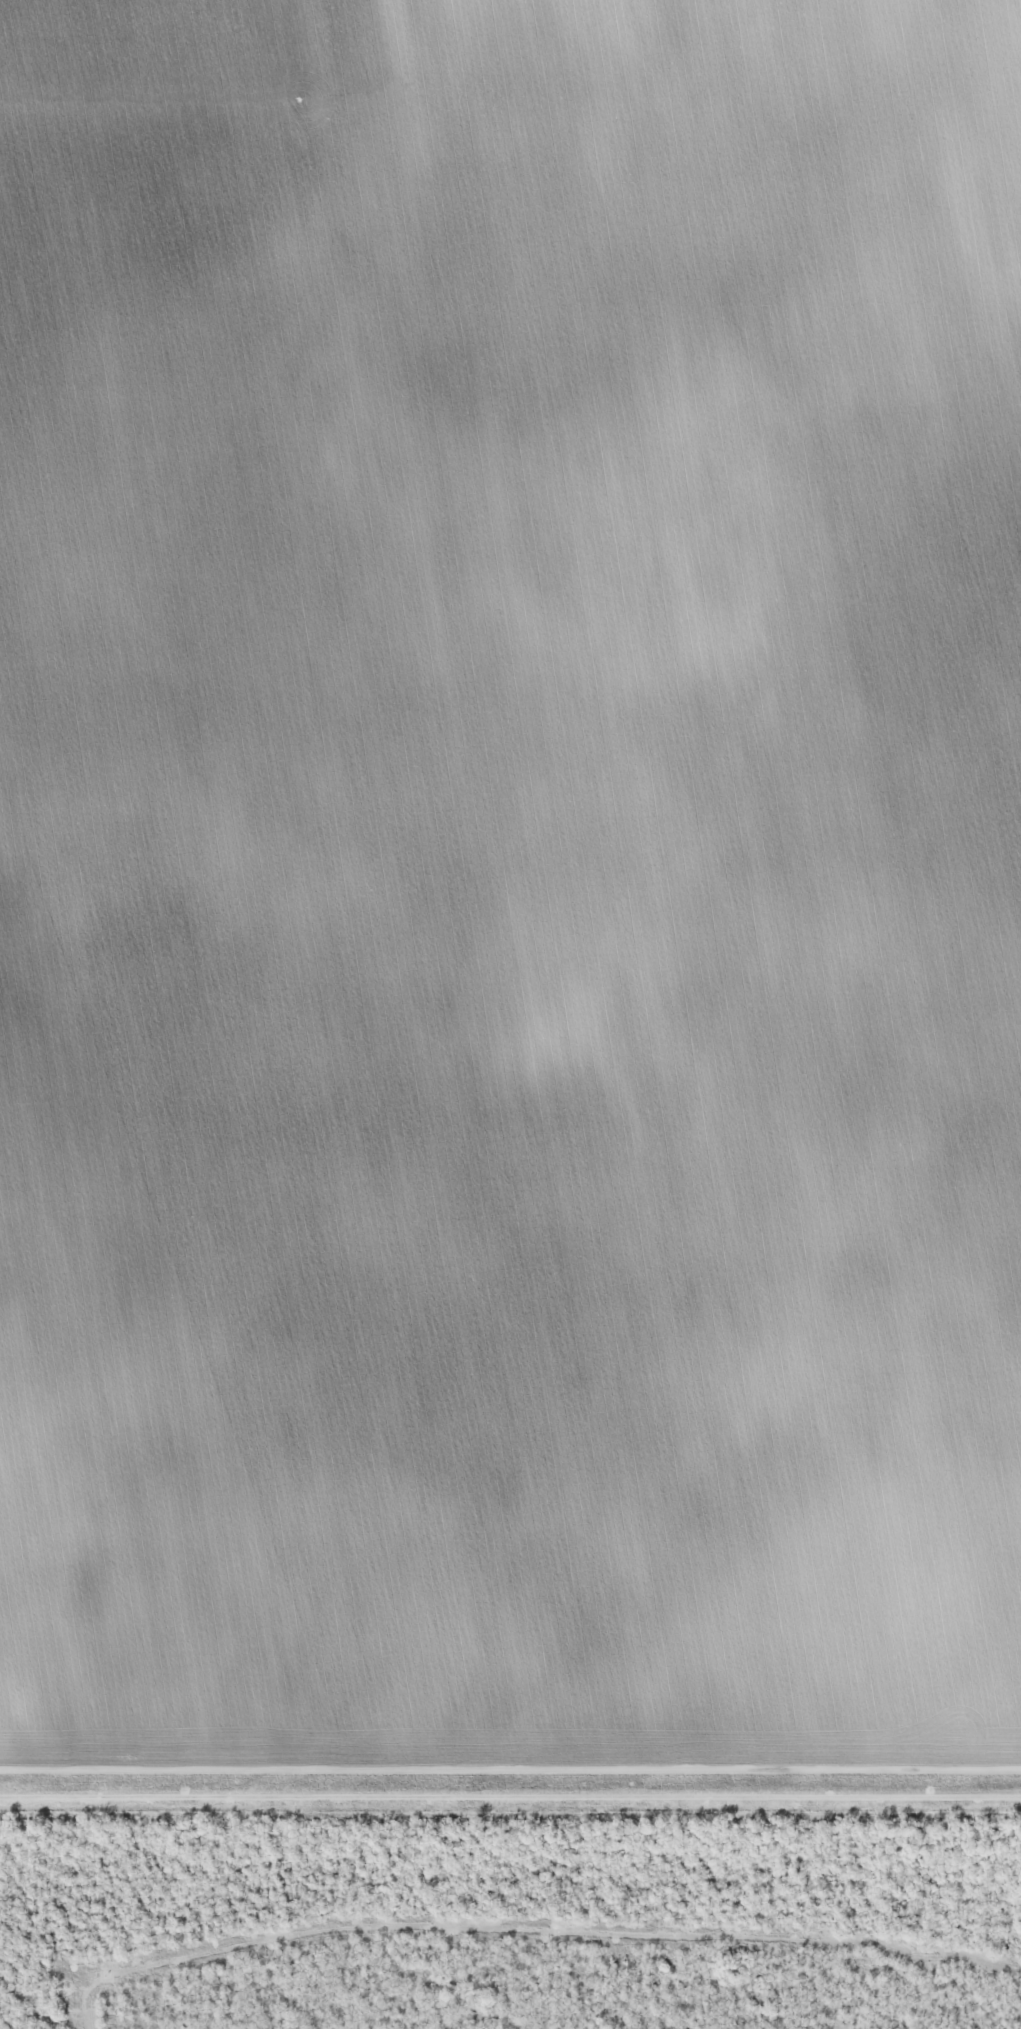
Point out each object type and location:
road: (510, 1792)

